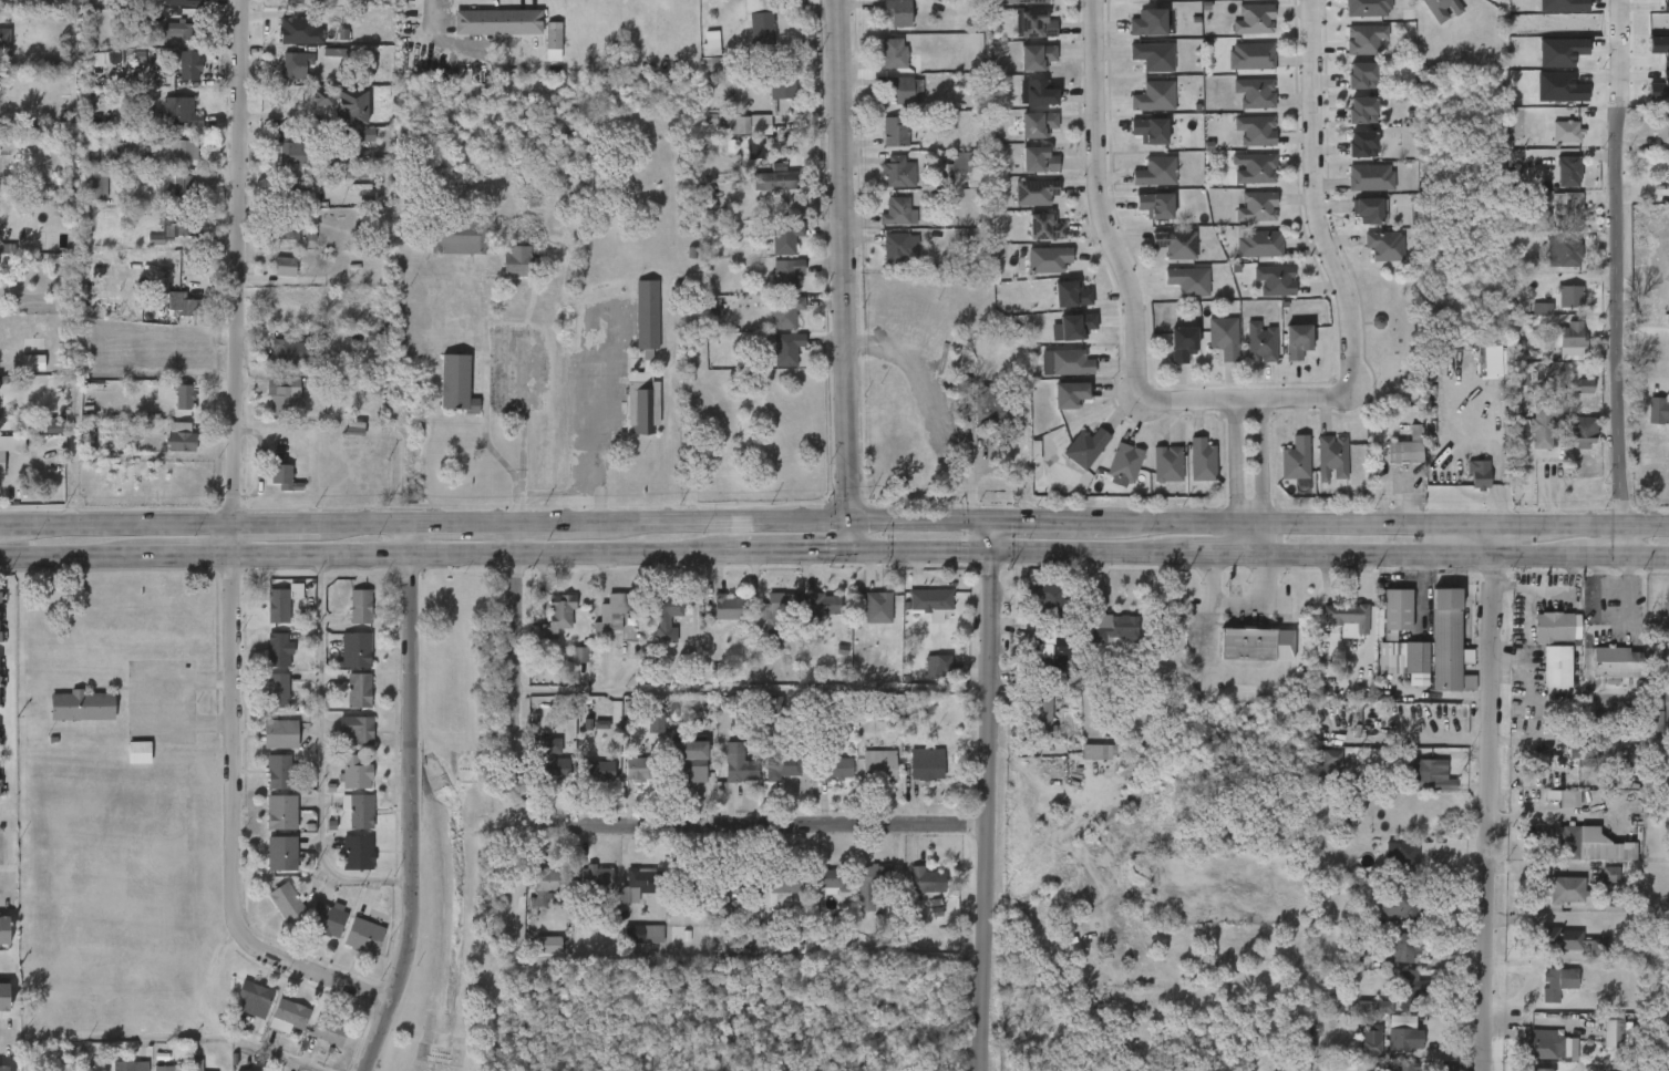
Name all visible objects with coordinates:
building: (293, 1)
building: (1028, 1)
building: (183, 2)
building: (1563, 6)
building: (1665, 6)
building: (1366, 8)
building: (1440, 9)
building: (896, 11)
road: (434, 13)
building: (1251, 19)
building: (758, 21)
building: (495, 22)
building: (1146, 23)
building: (1036, 25)
building: (181, 29)
building: (299, 32)
building: (1362, 39)
building: (553, 41)
building: (4, 42)
building: (710, 43)
building: (1660, 48)
building: (1560, 52)
building: (892, 54)
building: (1151, 56)
building: (1249, 56)
building: (1034, 58)
building: (104, 60)
building: (295, 64)
building: (188, 65)
building: (710, 70)
building: (1360, 75)
building: (0, 79)
building: (781, 85)
building: (1559, 87)
building: (898, 89)
building: (1659, 89)
building: (1036, 93)
building: (1253, 94)
building: (1152, 99)
building: (344, 103)
building: (179, 111)
building: (1360, 111)
building: (746, 125)
building: (1037, 125)
building: (1660, 126)
building: (1148, 131)
building: (1254, 131)
building: (1563, 132)
building: (896, 133)
building: (359, 134)
building: (1360, 144)
building: (172, 145)
building: (290, 151)
building: (1038, 159)
building: (968, 167)
building: (1253, 169)
building: (1567, 169)
building: (1154, 172)
building: (899, 173)
building: (334, 175)
building: (780, 175)
building: (1369, 177)
building: (97, 184)
building: (178, 185)
building: (287, 189)
building: (1033, 192)
road: (1312, 195)
road: (1095, 203)
building: (1152, 205)
building: (1255, 207)
building: (1367, 209)
building: (1565, 209)
building: (898, 213)
building: (1043, 227)
building: (172, 228)
building: (282, 228)
building: (459, 237)
building: (786, 237)
building: (1174, 244)
building: (1257, 244)
building: (1381, 245)
building: (900, 248)
building: (1562, 251)
building: (1047, 259)
building: (519, 261)
building: (285, 266)
building: (787, 274)
road: (842, 275)
road: (239, 277)
road: (1621, 278)
building: (1274, 280)
building: (1187, 281)
building: (1068, 295)
building: (1568, 297)
building: (185, 303)
building: (1542, 309)
building: (291, 310)
building: (787, 311)
building: (1668, 321)
building: (2, 322)
building: (1074, 326)
building: (1573, 333)
building: (1223, 338)
building: (1296, 341)
building: (1182, 342)
building: (1259, 342)
building: (787, 348)
building: (291, 350)
building: (648, 354)
building: (32, 362)
building: (1069, 362)
building: (1518, 374)
building: (454, 384)
building: (1584, 385)
building: (1069, 394)
building: (183, 398)
building: (287, 402)
road: (1245, 403)
building: (1653, 405)
building: (993, 409)
road: (599, 416)
building: (1543, 420)
road: (923, 426)
road: (519, 429)
building: (1582, 430)
building: (182, 436)
building: (9, 447)
building: (1084, 447)
building: (1404, 449)
building: (1330, 457)
building: (1295, 459)
building: (1199, 460)
building: (1166, 463)
building: (1123, 465)
building: (1480, 466)
building: (282, 477)
road: (1236, 480)
road: (1259, 480)
road: (559, 493)
traffic signals: (989, 518)
road: (1050, 518)
road: (1300, 518)
road: (279, 519)
road: (364, 519)
road: (504, 519)
road: (794, 519)
traffic signals: (848, 519)
road: (121, 521)
road: (1513, 521)
road: (1603, 522)
road: (0, 523)
road: (988, 535)
road: (791, 550)
traffic signals: (849, 550)
road: (918, 552)
traffic signals: (988, 553)
road: (1084, 553)
road: (486, 554)
road: (1214, 555)
road: (1413, 555)
road: (1649, 555)
road: (73, 556)
road: (193, 556)
road: (1603, 556)
road: (1625, 578)
road: (1601, 580)
building: (0, 593)
building: (1048, 599)
building: (931, 600)
building: (281, 603)
road: (1258, 603)
building: (360, 606)
building: (725, 606)
building: (878, 607)
building: (1395, 610)
building: (818, 611)
building: (610, 612)
building: (555, 614)
building: (776, 615)
road: (1614, 615)
building: (663, 616)
building: (1346, 617)
building: (1552, 626)
building: (1113, 627)
building: (1446, 641)
building: (1256, 643)
road: (1207, 648)
building: (356, 649)
building: (278, 650)
building: (578, 655)
building: (1414, 657)
building: (1048, 658)
building: (1616, 661)
building: (939, 666)
building: (1555, 666)
building: (359, 690)
road: (753, 690)
building: (277, 691)
road: (182, 701)
building: (84, 704)
building: (773, 706)
building: (1043, 714)
building: (1652, 718)
building: (610, 721)
building: (655, 723)
building: (358, 729)
building: (280, 734)
building: (138, 752)
building: (1101, 752)
road: (320, 754)
building: (1583, 754)
building: (782, 760)
building: (552, 761)
building: (691, 761)
building: (736, 764)
building: (927, 764)
building: (1327, 765)
building: (879, 766)
road: (521, 769)
building: (641, 769)
building: (834, 769)
building: (596, 771)
building: (1423, 771)
building: (278, 773)
building: (356, 773)
road: (1490, 795)
road: (410, 799)
building: (1568, 800)
building: (359, 810)
building: (281, 812)
road: (985, 812)
road: (240, 825)
road: (751, 826)
building: (1572, 840)
building: (358, 853)
building: (281, 854)
building: (1609, 875)
building: (596, 877)
building: (1398, 877)
building: (692, 878)
building: (736, 879)
building: (837, 879)
building: (785, 882)
building: (928, 882)
building: (539, 885)
building: (641, 885)
building: (872, 885)
road: (4, 890)
building: (1564, 890)
building: (286, 902)
building: (328, 920)
building: (4, 930)
building: (645, 935)
building: (363, 937)
building: (1560, 938)
building: (542, 945)
building: (1400, 947)
building: (1557, 984)
building: (1405, 990)
building: (4, 997)
building: (254, 1000)
building: (1381, 1008)
building: (288, 1018)
building: (1400, 1020)
building: (329, 1032)
building: (1611, 1032)
road: (168, 1036)
road: (3, 1037)
building: (1401, 1039)
building: (1369, 1042)
building: (1542, 1043)
building: (197, 1064)
building: (140, 1065)
building: (1401, 1067)
building: (3, 1068)
building: (163, 1068)
building: (174, 1068)
building: (184, 1069)
building: (1538, 1069)

